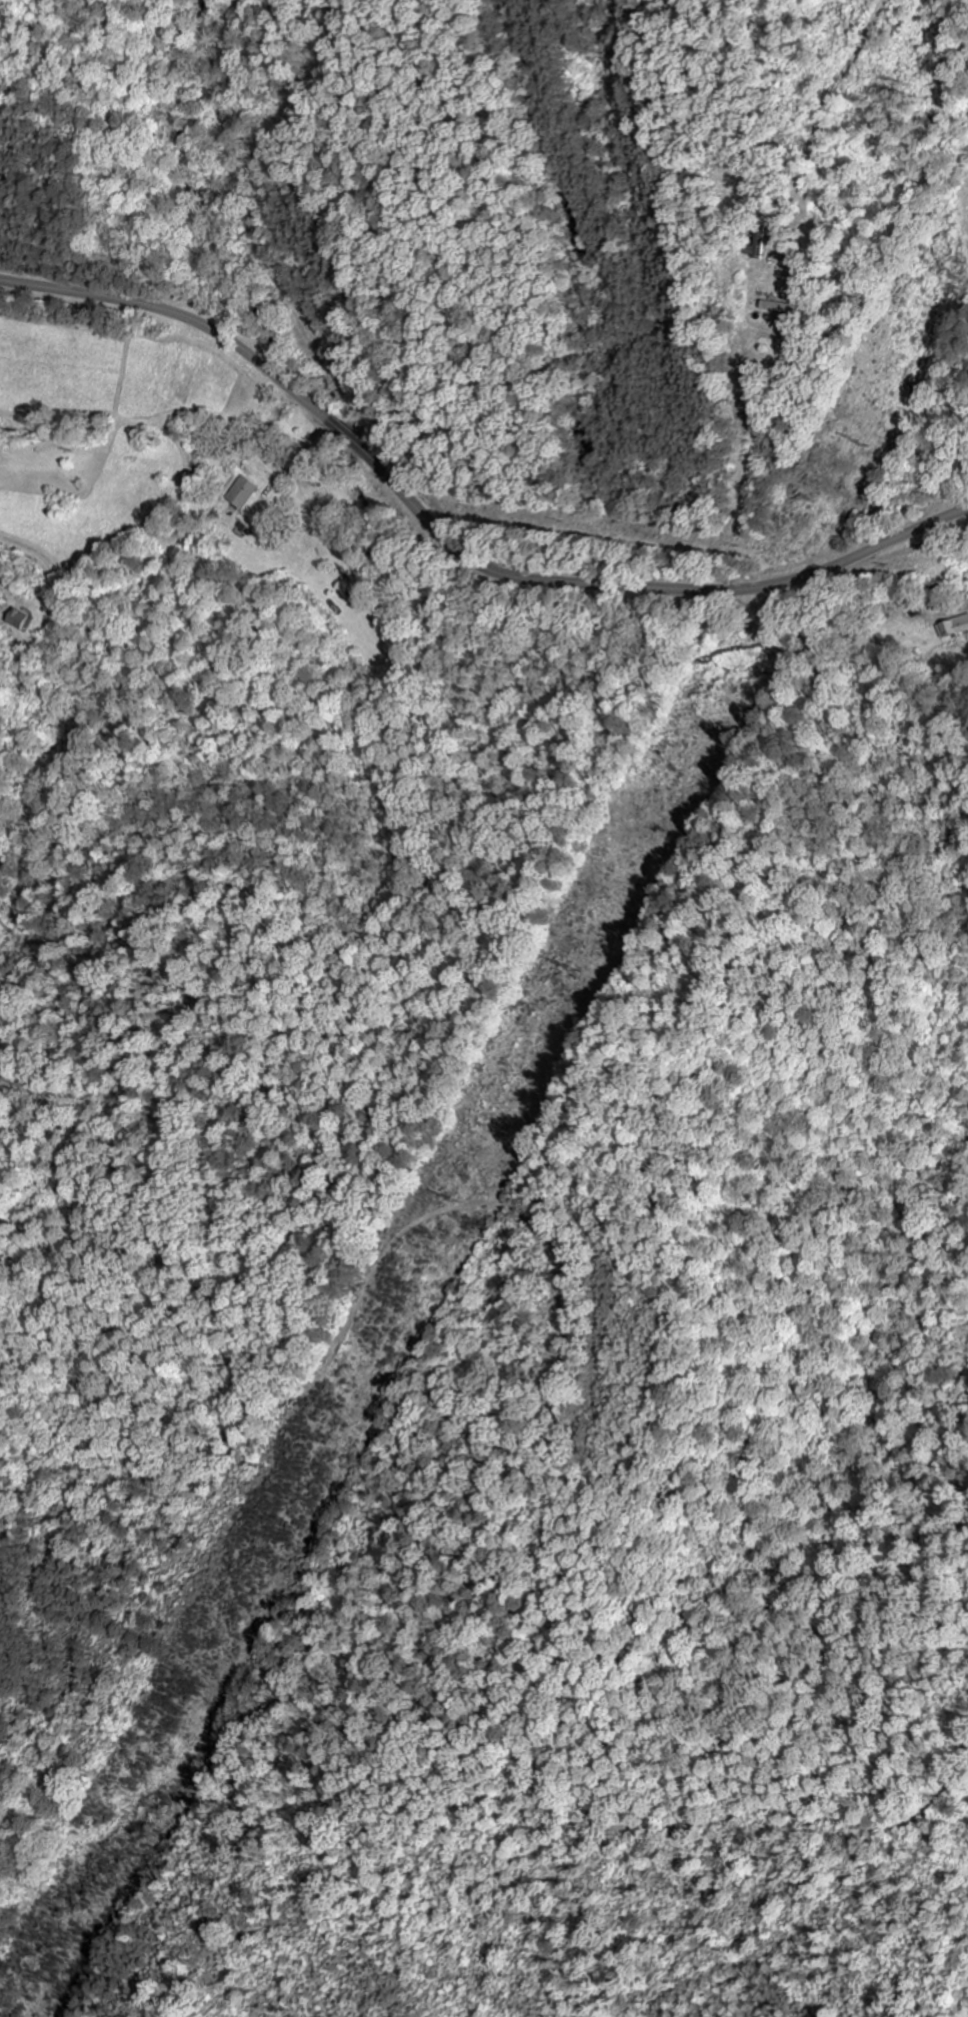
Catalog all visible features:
building: (783, 308)
building: (242, 492)
road: (452, 543)
building: (953, 628)

